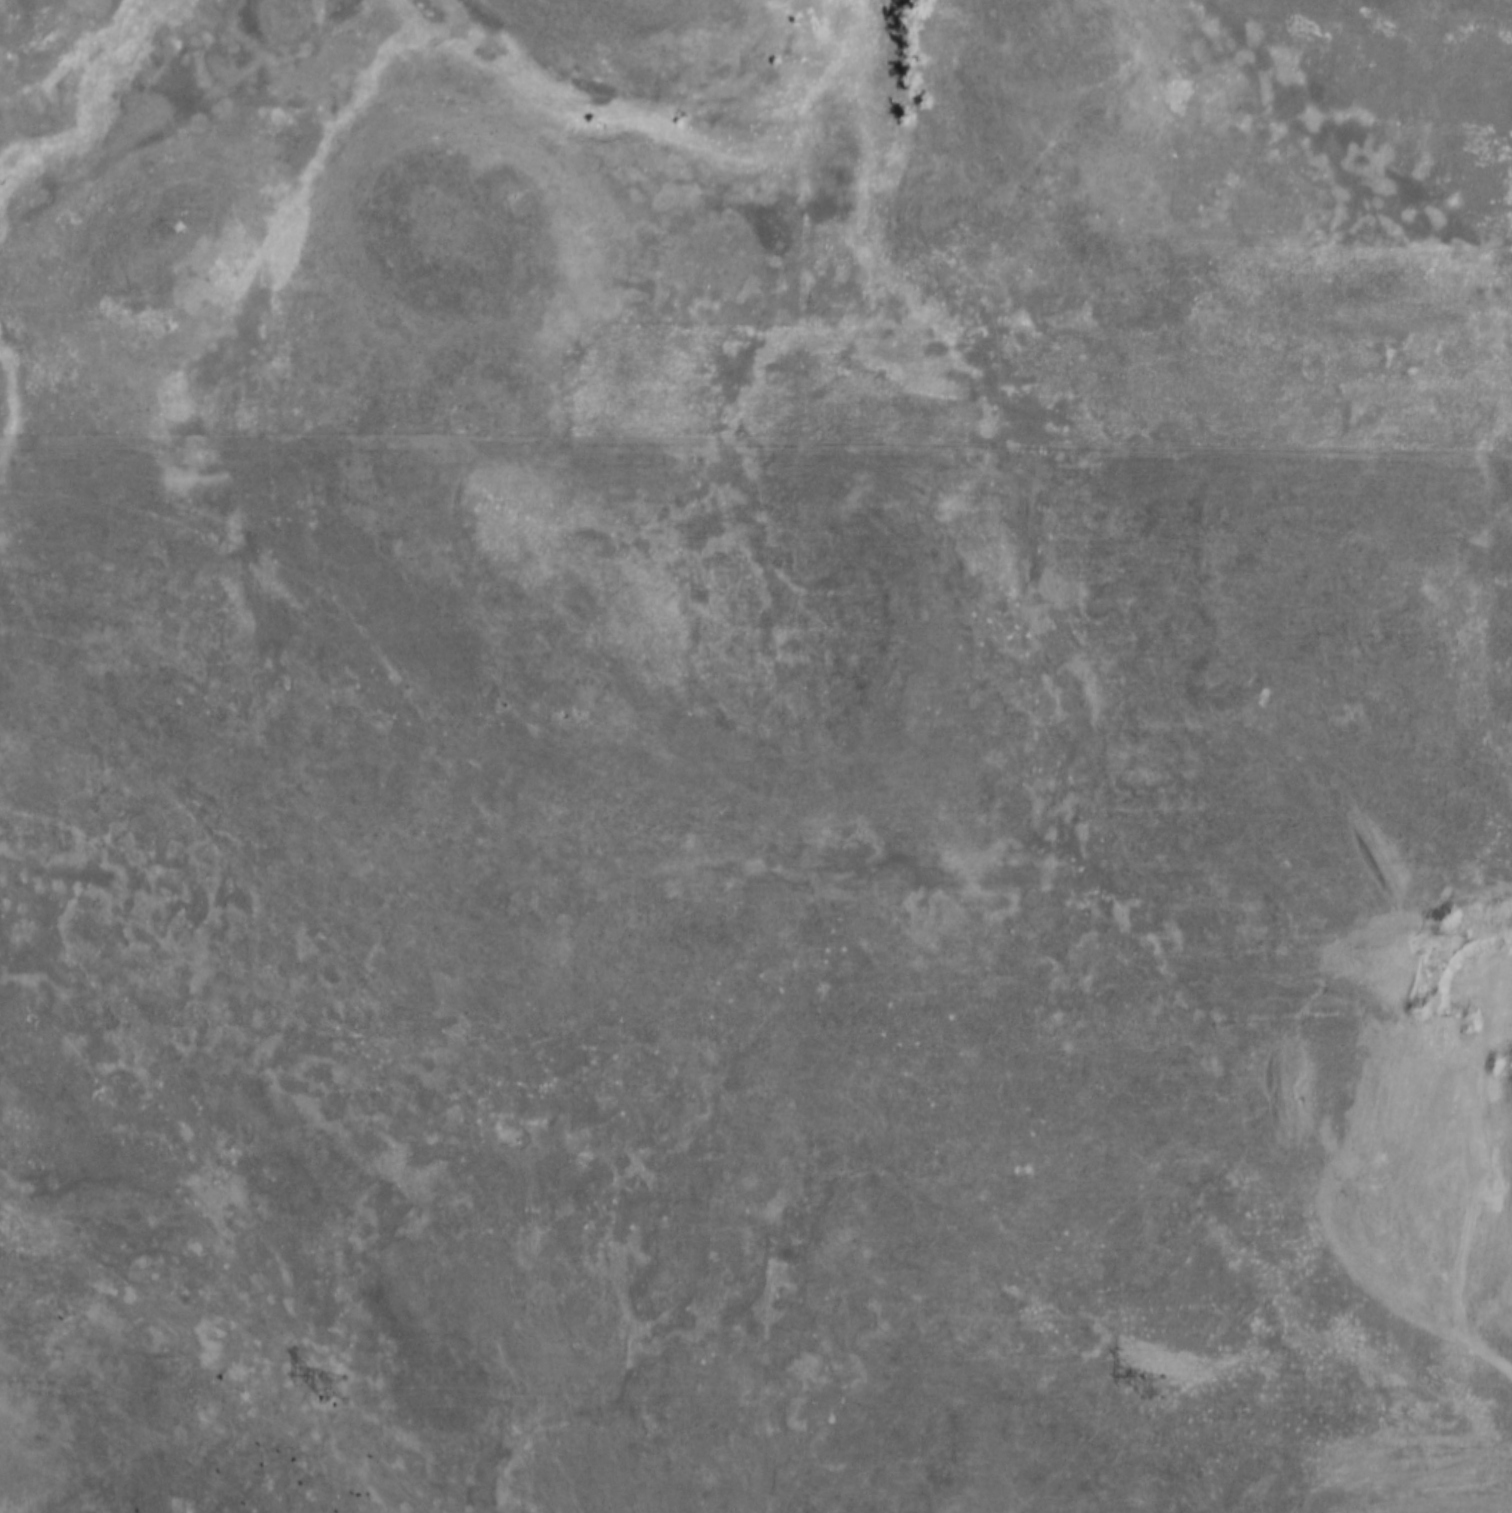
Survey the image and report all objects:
power tower: (1139, 1388)
power tower: (323, 1389)

